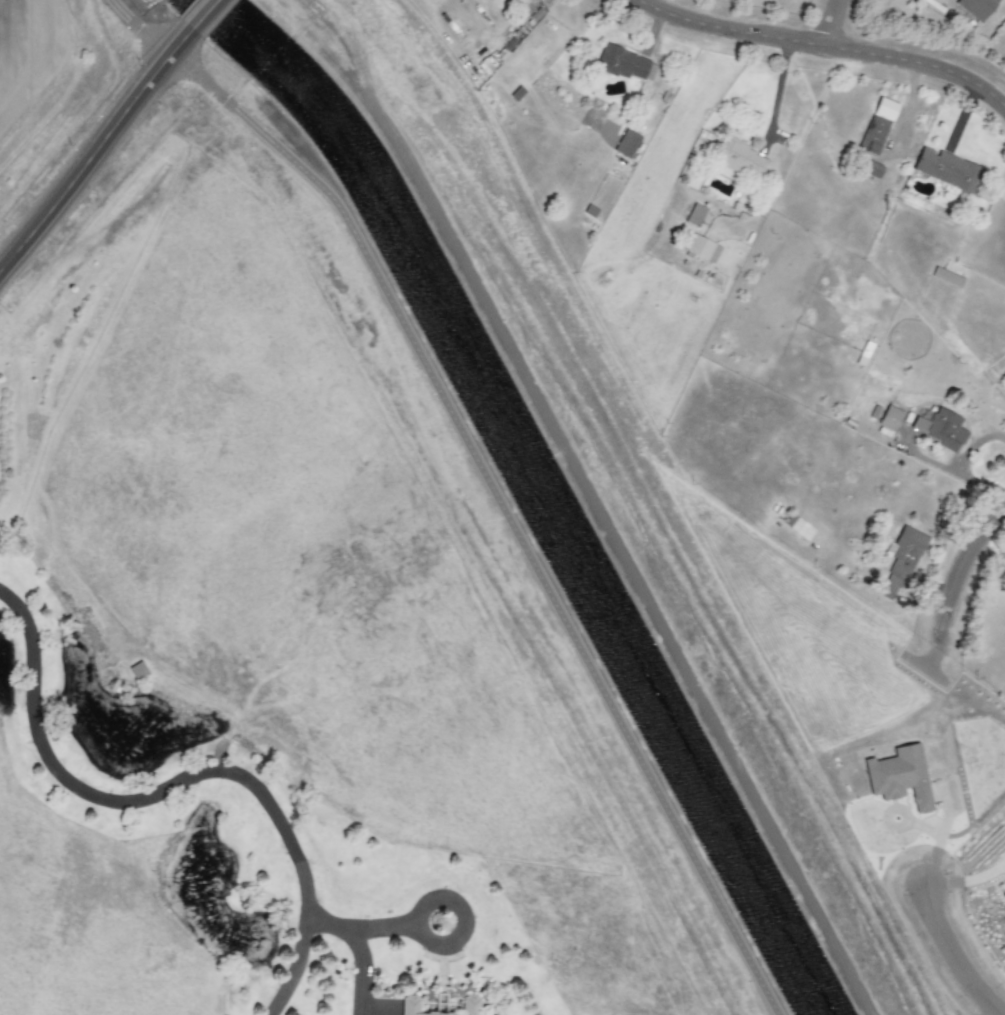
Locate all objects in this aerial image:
building: (976, 8)
road: (204, 14)
road: (839, 28)
road: (814, 55)
building: (624, 64)
road: (778, 101)
building: (877, 126)
road: (95, 143)
building: (626, 144)
building: (740, 159)
building: (872, 169)
building: (947, 170)
building: (695, 214)
building: (702, 250)
building: (946, 277)
building: (890, 418)
building: (940, 429)
road: (974, 444)
road: (945, 467)
road: (491, 475)
road: (600, 504)
building: (802, 530)
building: (900, 562)
road: (961, 583)
building: (899, 777)
road: (173, 784)
road: (940, 844)
building: (1004, 879)
road: (965, 882)
road: (466, 920)
road: (956, 958)
road: (294, 964)
building: (410, 1005)

